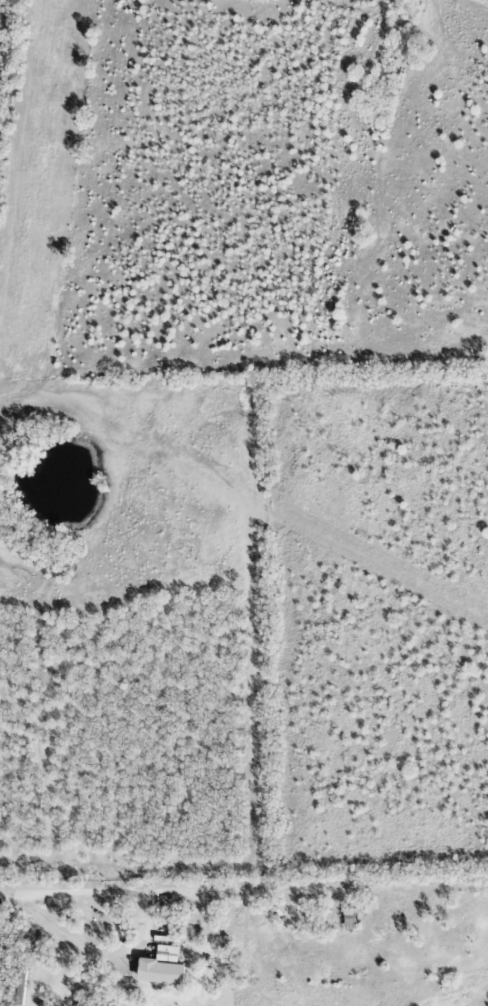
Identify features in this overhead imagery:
road: (241, 889)
road: (6, 895)
road: (148, 931)
building: (160, 968)
building: (20, 988)

